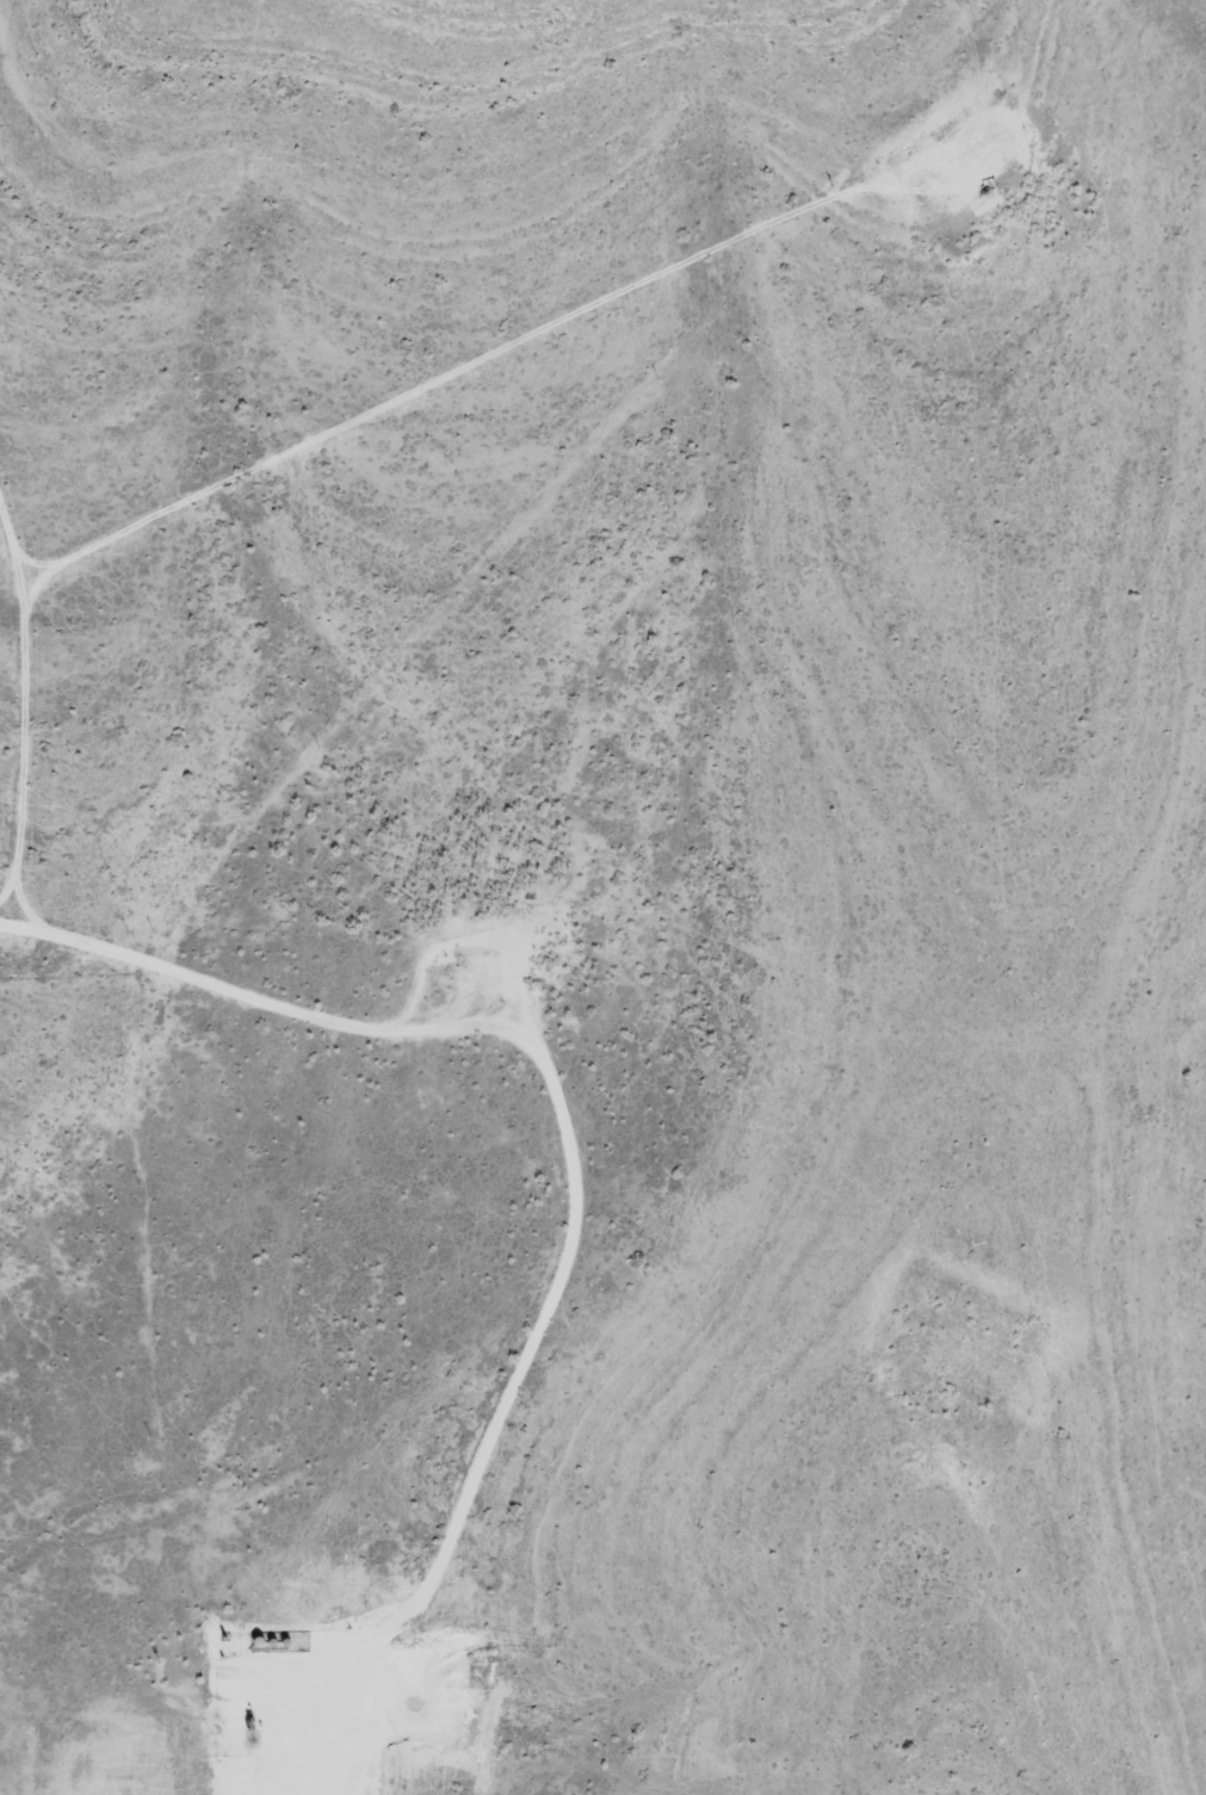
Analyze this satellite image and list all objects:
road: (2, 710)

